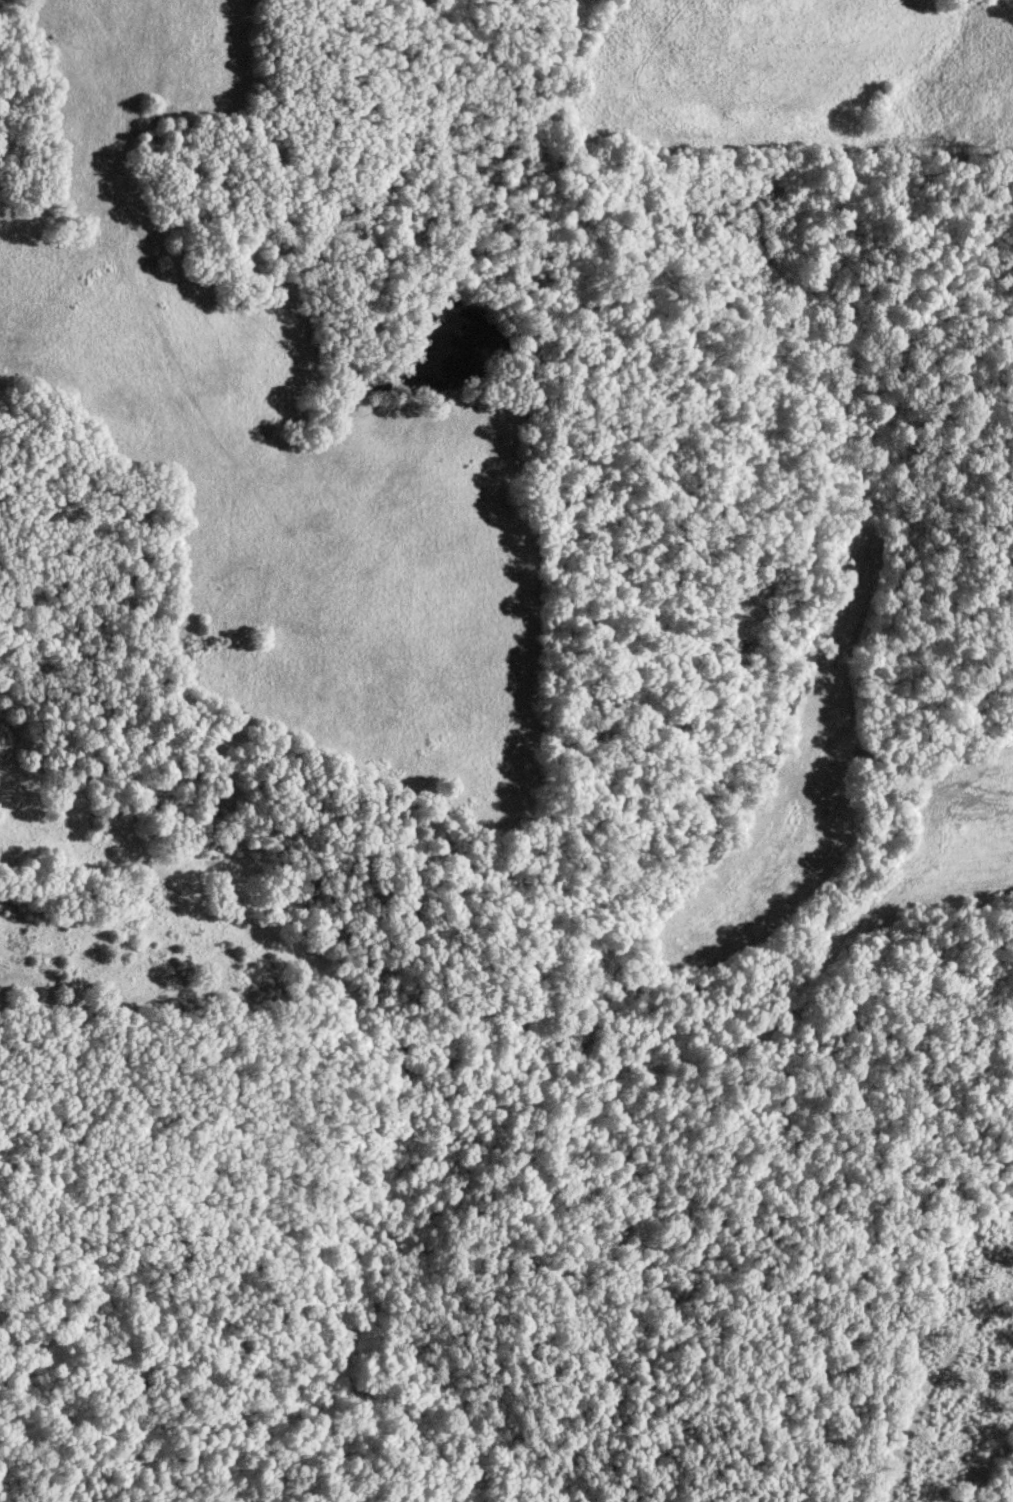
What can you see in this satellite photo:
road: (196, 1150)

